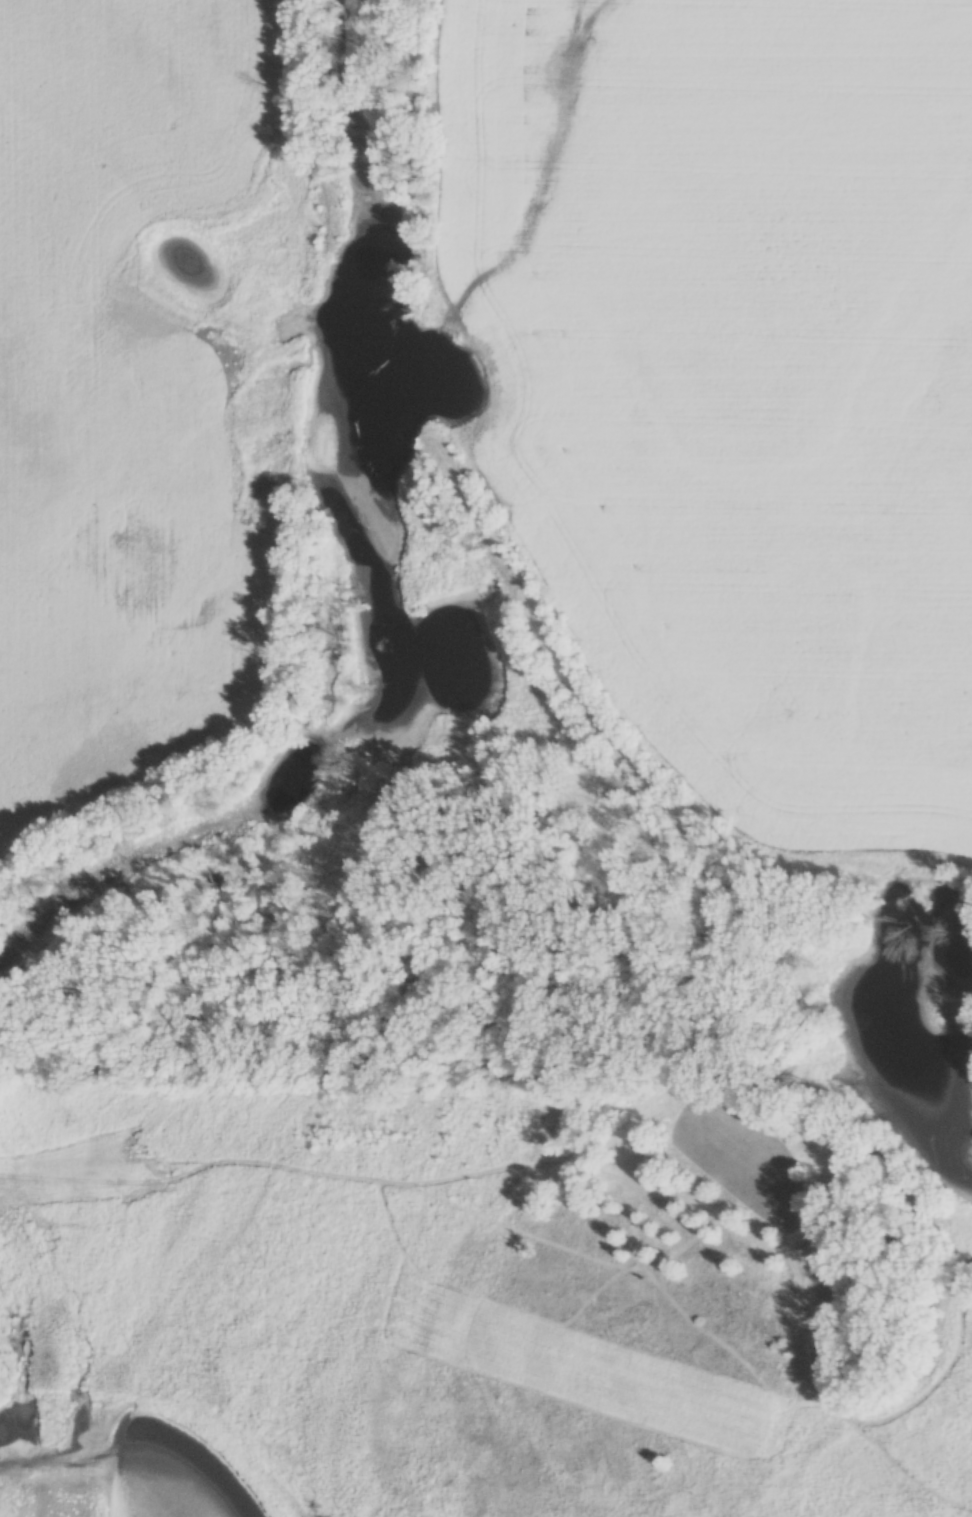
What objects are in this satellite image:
river: (101, 1478)

